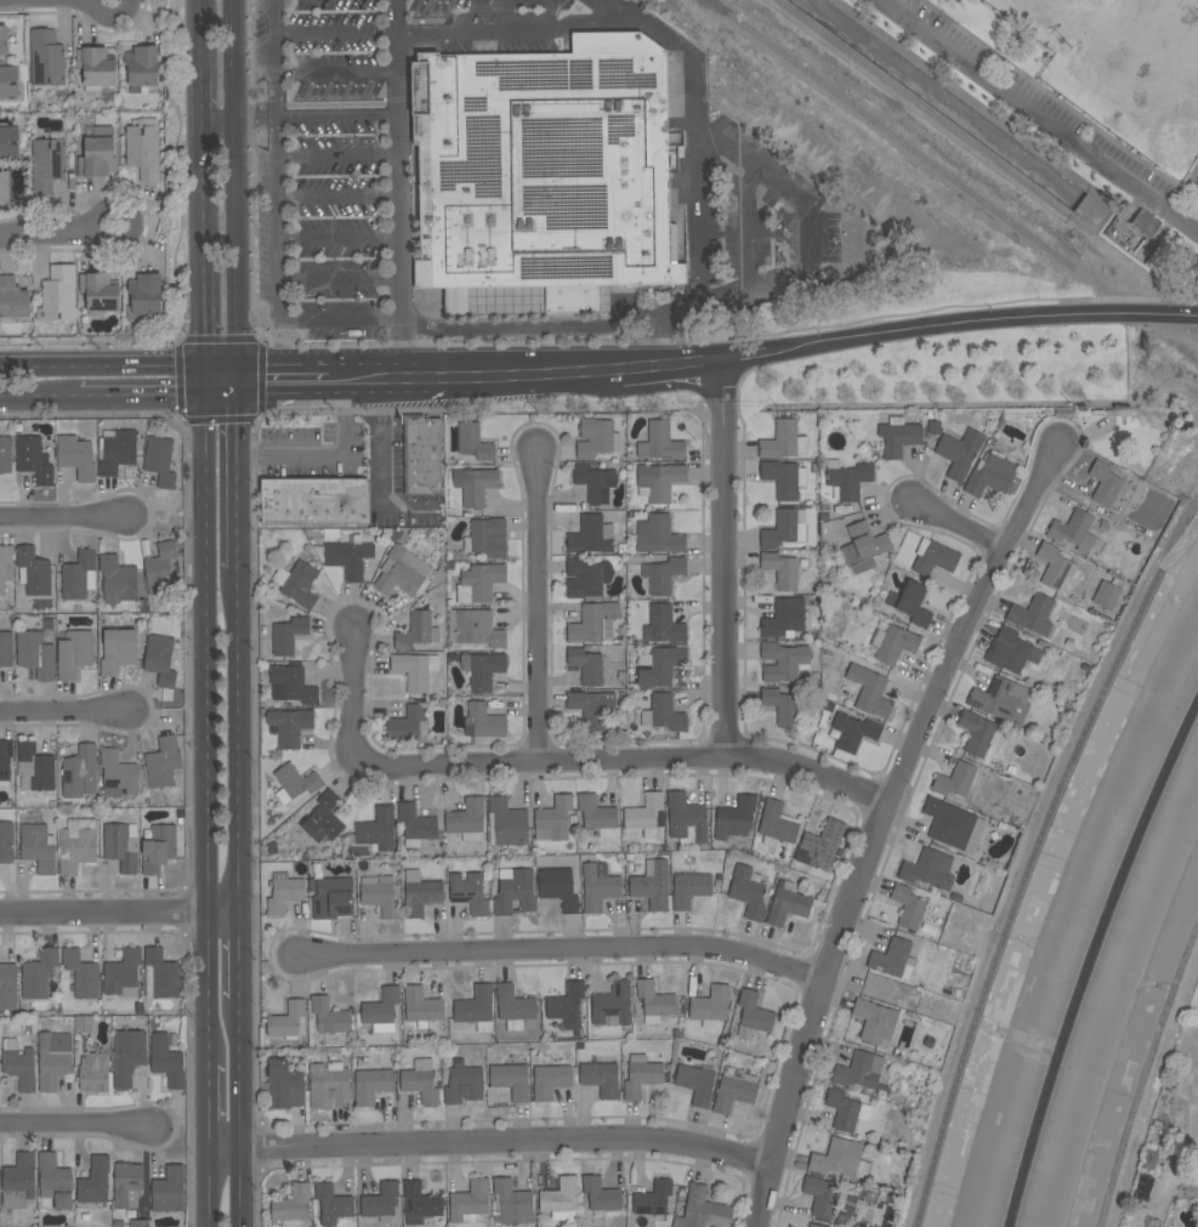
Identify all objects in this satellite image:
road: (904, 0)
park: (1072, 6)
road: (199, 7)
road: (905, 8)
road: (113, 15)
road: (519, 27)
road: (335, 32)
building: (4, 41)
road: (272, 57)
building: (46, 58)
building: (142, 66)
road: (201, 67)
building: (97, 69)
road: (335, 72)
building: (7, 83)
park: (1083, 100)
road: (1064, 102)
parking lot: (1046, 103)
road: (342, 115)
road: (243, 117)
road: (1035, 117)
railway: (890, 135)
building: (8, 143)
building: (142, 150)
road: (339, 153)
building: (98, 154)
building: (47, 164)
road: (203, 176)
building: (544, 176)
building: (4, 187)
road: (402, 188)
road: (235, 192)
parking lot: (1193, 192)
road: (339, 198)
road: (811, 209)
road: (702, 217)
road: (130, 222)
building: (1146, 223)
road: (748, 227)
road: (1196, 227)
road: (50, 233)
road: (339, 235)
road: (800, 239)
road: (1176, 251)
road: (340, 278)
road: (278, 280)
building: (58, 294)
building: (98, 294)
building: (143, 297)
road: (1191, 297)
building: (13, 299)
road: (205, 314)
road: (983, 320)
road: (532, 322)
road: (745, 358)
road: (670, 367)
road: (120, 368)
traffic signals: (206, 368)
road: (527, 373)
road: (420, 376)
road: (374, 379)
road: (335, 380)
road: (283, 381)
traffic signals: (239, 384)
road: (222, 390)
road: (40, 396)
road: (143, 396)
traffic signals: (206, 396)
building: (935, 427)
building: (898, 437)
building: (597, 438)
building: (783, 441)
road: (381, 442)
building: (473, 442)
building: (660, 442)
building: (118, 451)
road: (325, 451)
building: (959, 453)
building: (6, 455)
building: (421, 455)
building: (76, 456)
building: (34, 460)
building: (159, 460)
road: (239, 476)
building: (990, 476)
building: (784, 478)
building: (848, 479)
building: (659, 481)
building: (595, 483)
building: (1107, 484)
building: (475, 485)
building: (314, 501)
road: (64, 518)
road: (954, 526)
road: (1179, 528)
building: (783, 529)
building: (1074, 530)
building: (591, 535)
building: (662, 535)
building: (487, 538)
building: (864, 547)
building: (350, 557)
building: (933, 557)
road: (721, 559)
building: (1055, 566)
building: (5, 567)
building: (161, 569)
building: (780, 569)
building: (33, 572)
building: (401, 573)
building: (663, 574)
building: (79, 575)
building: (586, 578)
building: (118, 580)
building: (479, 583)
building: (297, 584)
building: (1107, 595)
building: (912, 603)
road: (536, 607)
building: (1033, 614)
building: (784, 619)
building: (591, 623)
building: (664, 625)
building: (475, 629)
building: (416, 631)
building: (288, 635)
building: (892, 643)
building: (1069, 643)
building: (6, 649)
building: (118, 651)
building: (1016, 651)
building: (74, 653)
building: (35, 654)
building: (160, 660)
building: (784, 661)
building: (589, 665)
building: (660, 665)
building: (415, 670)
building: (482, 670)
building: (291, 684)
building: (869, 691)
building: (1001, 700)
building: (783, 706)
building: (591, 708)
road: (64, 714)
building: (664, 714)
building: (486, 721)
building: (408, 725)
building: (289, 726)
road: (206, 728)
building: (853, 732)
building: (978, 733)
road: (239, 738)
building: (5, 761)
road: (553, 761)
building: (163, 762)
building: (35, 767)
building: (80, 772)
building: (118, 774)
building: (954, 780)
building: (295, 783)
building: (596, 812)
building: (645, 814)
building: (686, 817)
building: (324, 818)
building: (736, 818)
building: (467, 819)
building: (553, 819)
building: (507, 822)
building: (948, 823)
building: (777, 824)
building: (416, 825)
road: (876, 826)
building: (377, 829)
building: (300, 839)
building: (6, 841)
building: (76, 846)
building: (121, 846)
building: (821, 846)
building: (39, 847)
building: (274, 847)
building: (159, 848)
road: (1030, 862)
building: (926, 869)
building: (652, 885)
building: (598, 888)
building: (689, 888)
building: (515, 891)
building: (284, 892)
building: (748, 892)
building: (420, 893)
building: (469, 893)
building: (560, 893)
building: (333, 898)
building: (380, 899)
building: (788, 904)
building: (908, 907)
road: (119, 911)
road: (239, 953)
road: (557, 954)
building: (893, 959)
building: (83, 973)
building: (123, 973)
building: (38, 975)
building: (160, 975)
building: (7, 987)
building: (654, 1001)
building: (614, 1004)
building: (567, 1005)
building: (421, 1006)
building: (513, 1006)
building: (710, 1006)
building: (476, 1007)
building: (381, 1010)
building: (754, 1012)
building: (329, 1016)
building: (874, 1021)
building: (288, 1022)
building: (83, 1024)
building: (127, 1057)
building: (53, 1058)
building: (166, 1061)
building: (18, 1064)
road: (1145, 1070)
building: (861, 1072)
building: (93, 1073)
building: (641, 1077)
building: (600, 1078)
building: (511, 1080)
building: (550, 1080)
building: (370, 1083)
building: (420, 1083)
building: (461, 1083)
building: (695, 1083)
building: (284, 1085)
building: (329, 1086)
building: (734, 1090)
road: (209, 1104)
building: (846, 1109)
road: (242, 1112)
building: (1159, 1125)
road: (76, 1126)
road: (492, 1141)
building: (840, 1159)
building: (1152, 1159)
building: (18, 1181)
building: (55, 1181)
building: (95, 1181)
building: (127, 1187)
road: (210, 1187)
building: (1143, 1187)
building: (169, 1189)
building: (601, 1194)
building: (823, 1197)
building: (653, 1198)
building: (561, 1199)
building: (422, 1200)
building: (381, 1202)
building: (470, 1203)
building: (512, 1203)
building: (331, 1204)
building: (293, 1206)
building: (703, 1210)
building: (138, 1222)
building: (814, 1226)

